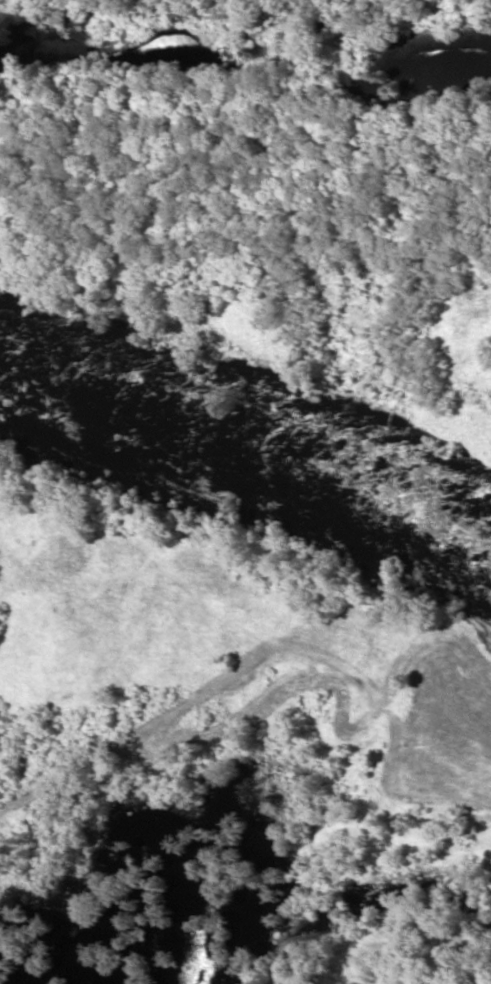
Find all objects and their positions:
river: (253, 438)

